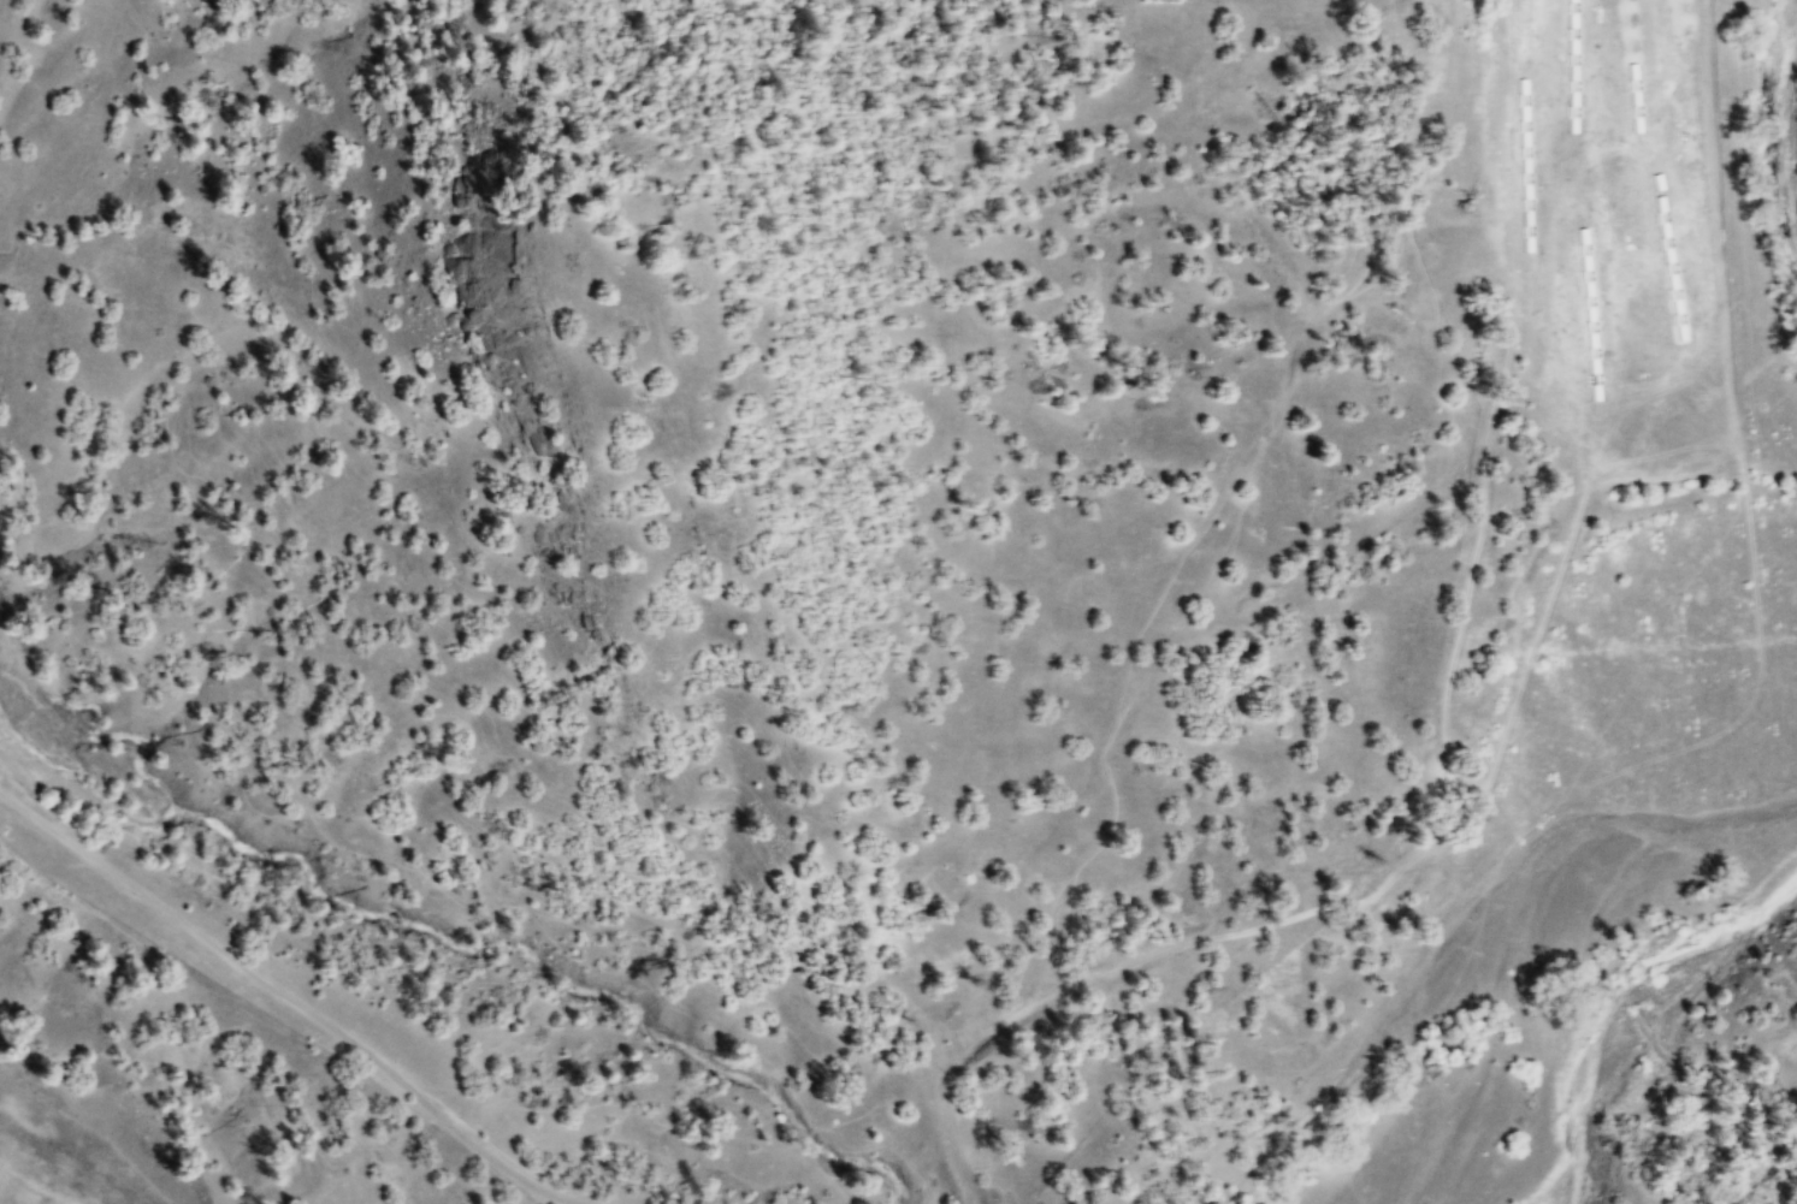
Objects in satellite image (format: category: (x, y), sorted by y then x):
river: (1779, 131)
river: (1633, 1013)

